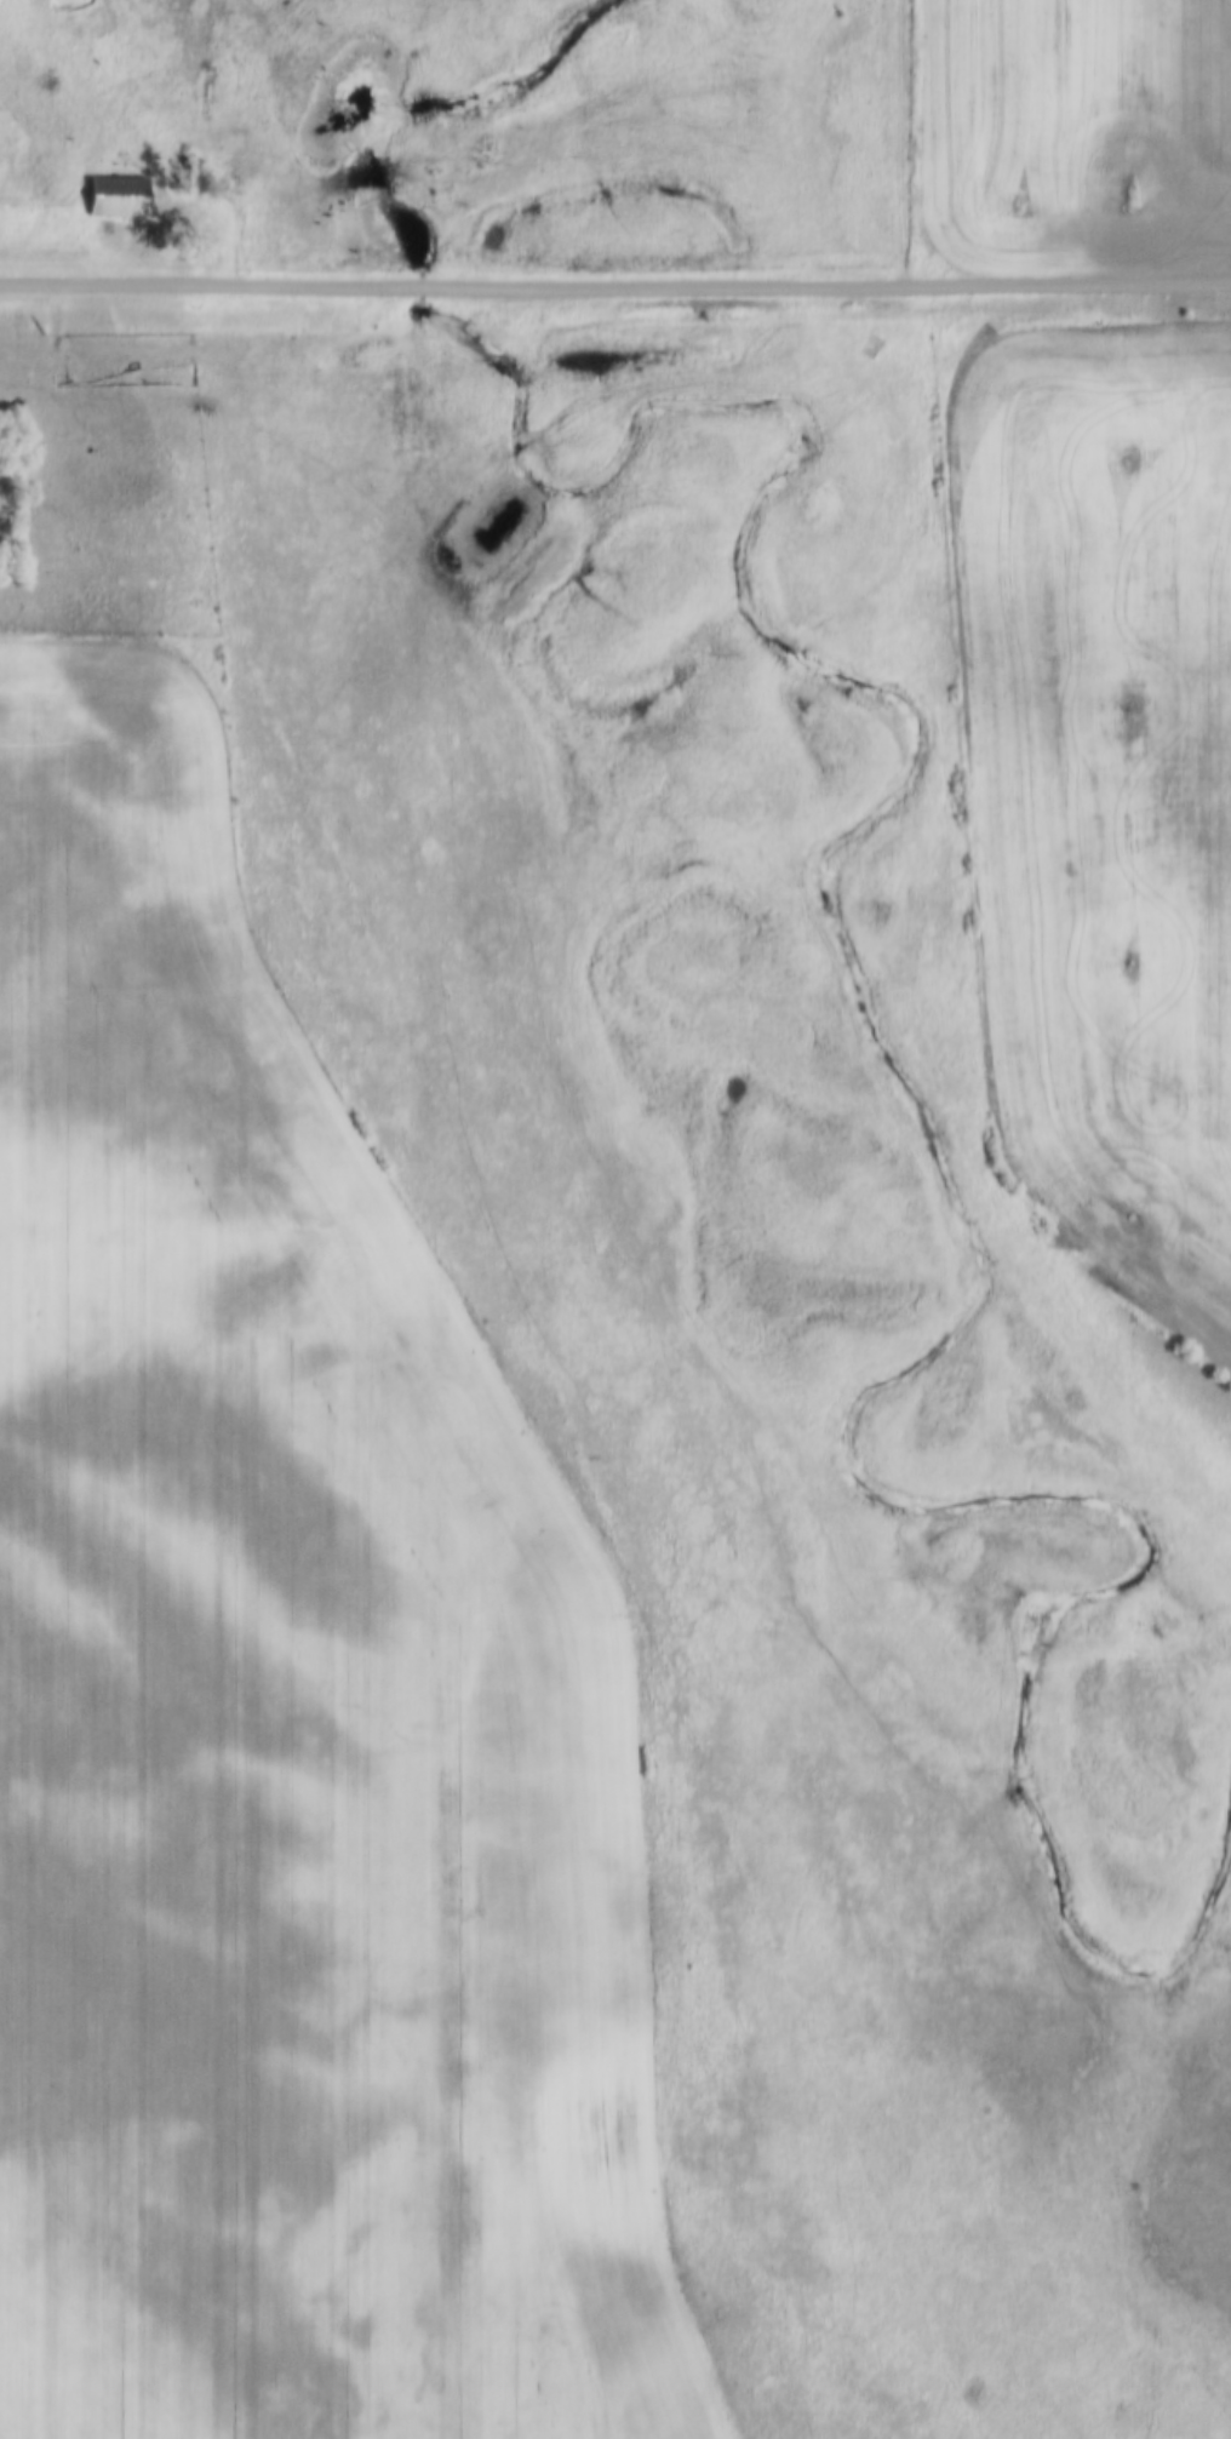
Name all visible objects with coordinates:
building: (116, 200)
road: (614, 286)

